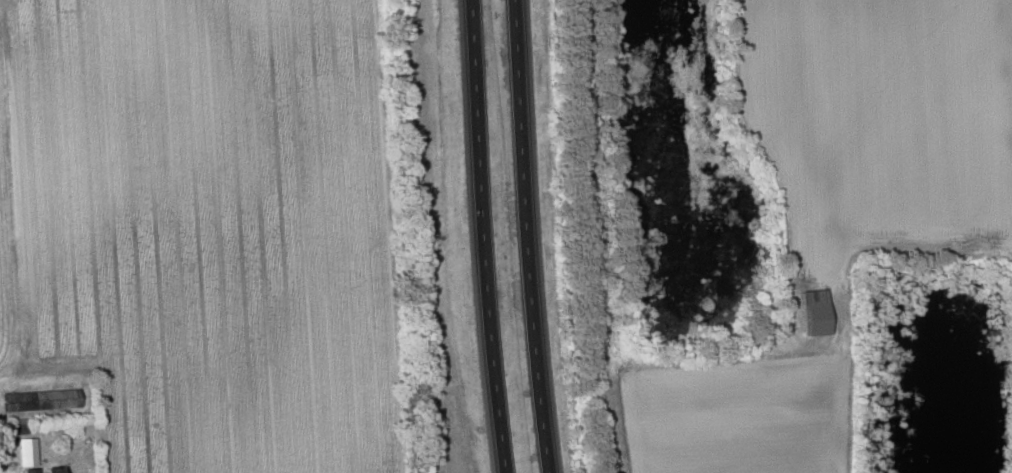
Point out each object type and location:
road: (483, 236)
road: (527, 236)
building: (814, 312)
building: (41, 399)
building: (26, 452)
building: (45, 470)

